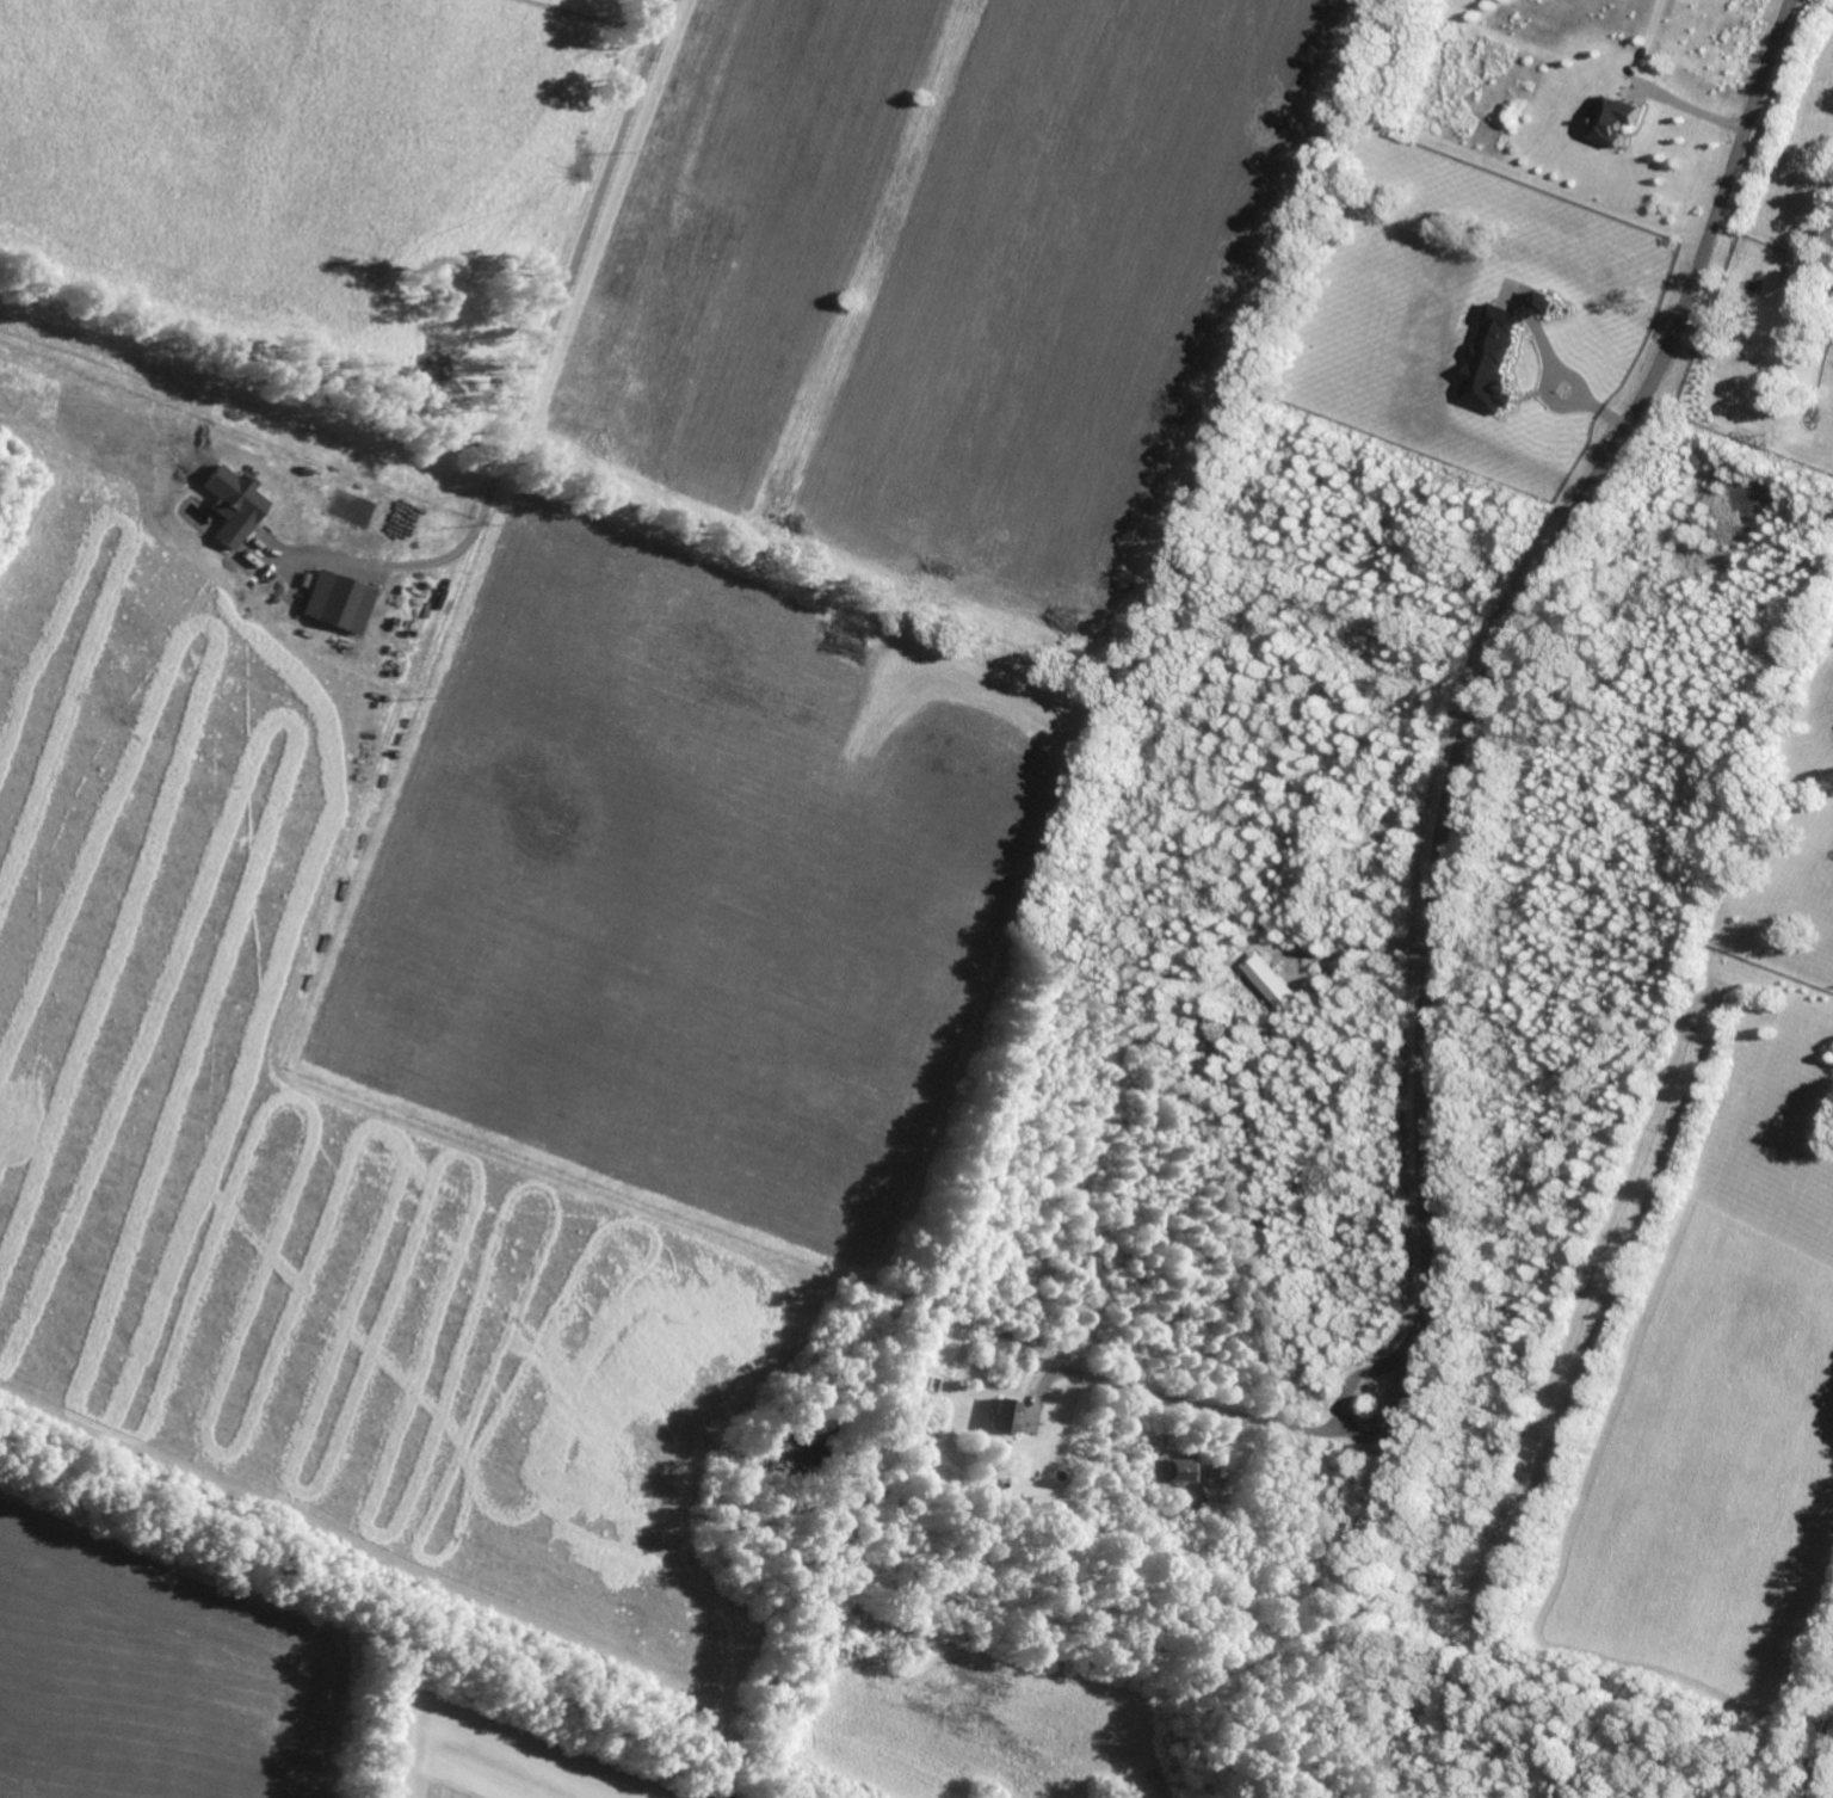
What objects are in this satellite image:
road: (1689, 107)
building: (1613, 119)
road: (579, 276)
building: (1498, 353)
building: (234, 504)
building: (339, 602)
road: (1495, 654)
building: (1267, 980)
road: (1178, 1393)
building: (1007, 1415)
road: (1353, 1431)
building: (1183, 1470)

